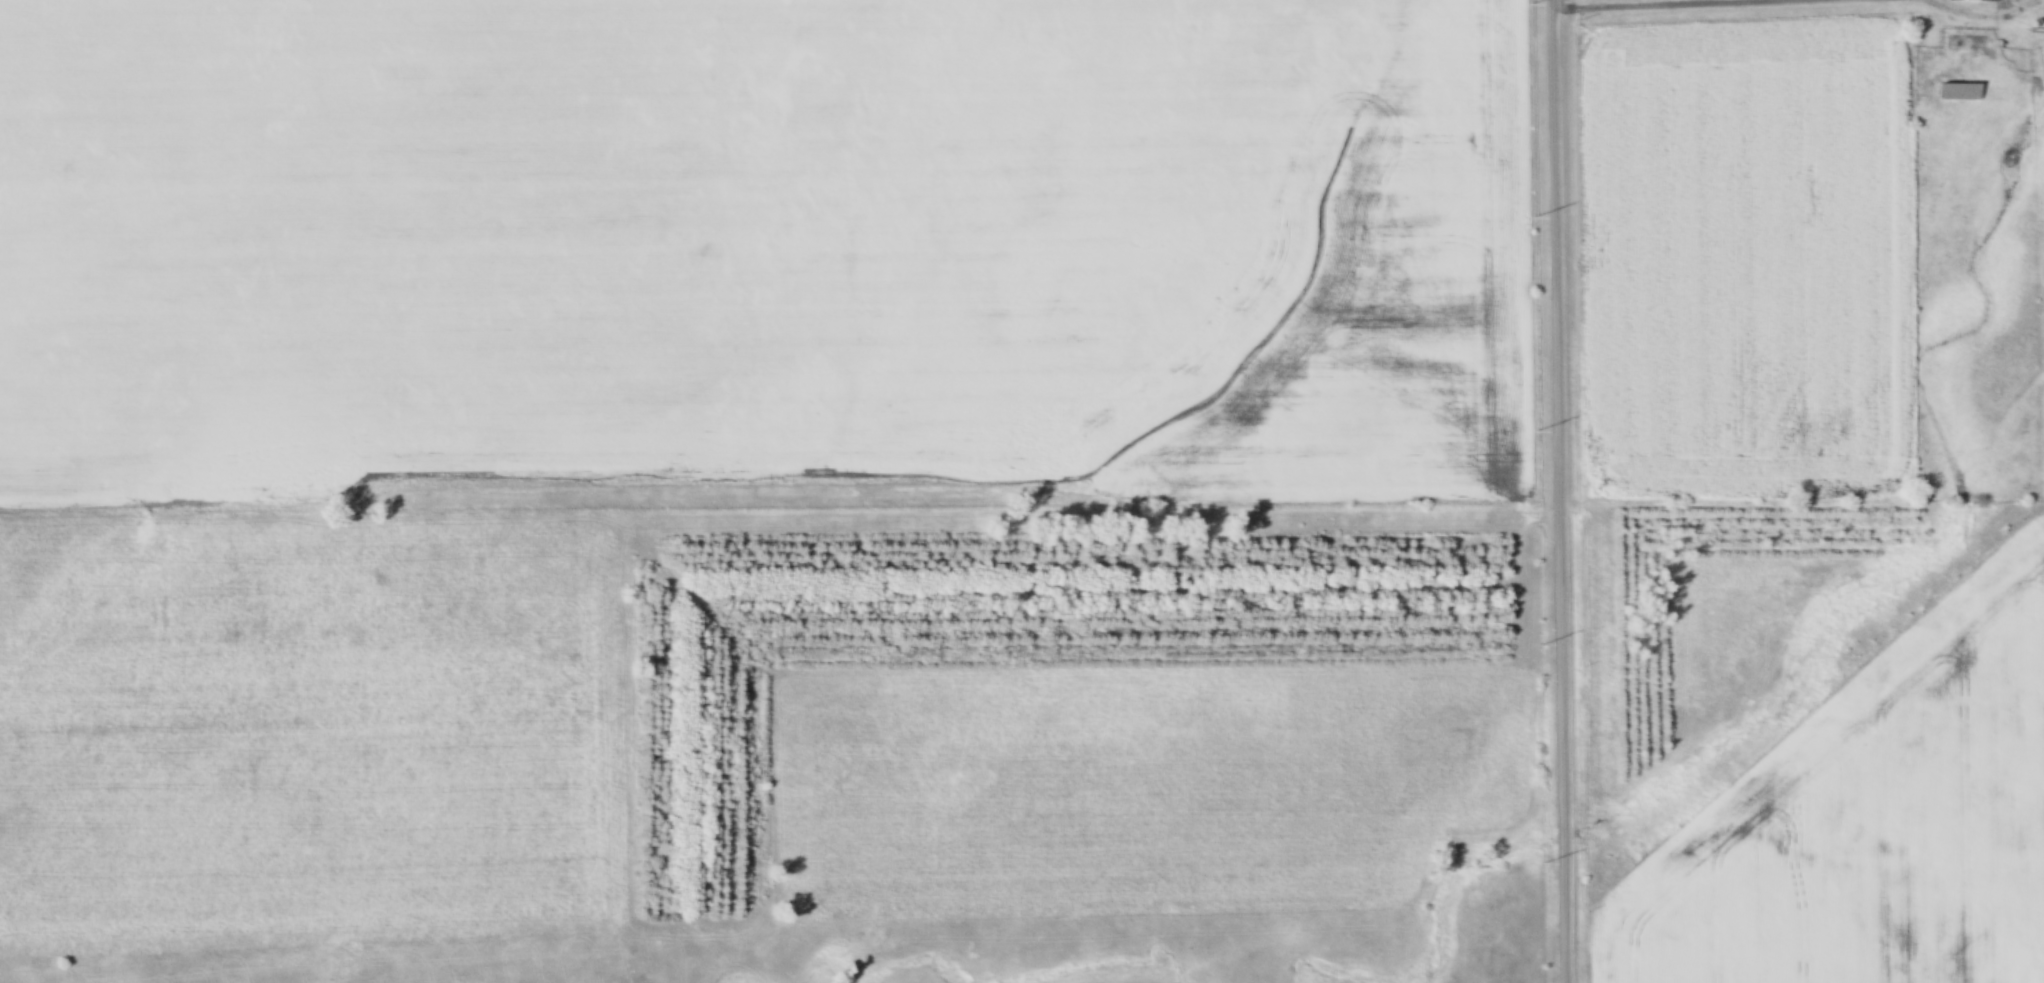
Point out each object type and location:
building: (1989, 1)
road: (1708, 5)
building: (1960, 93)
road: (1558, 491)

